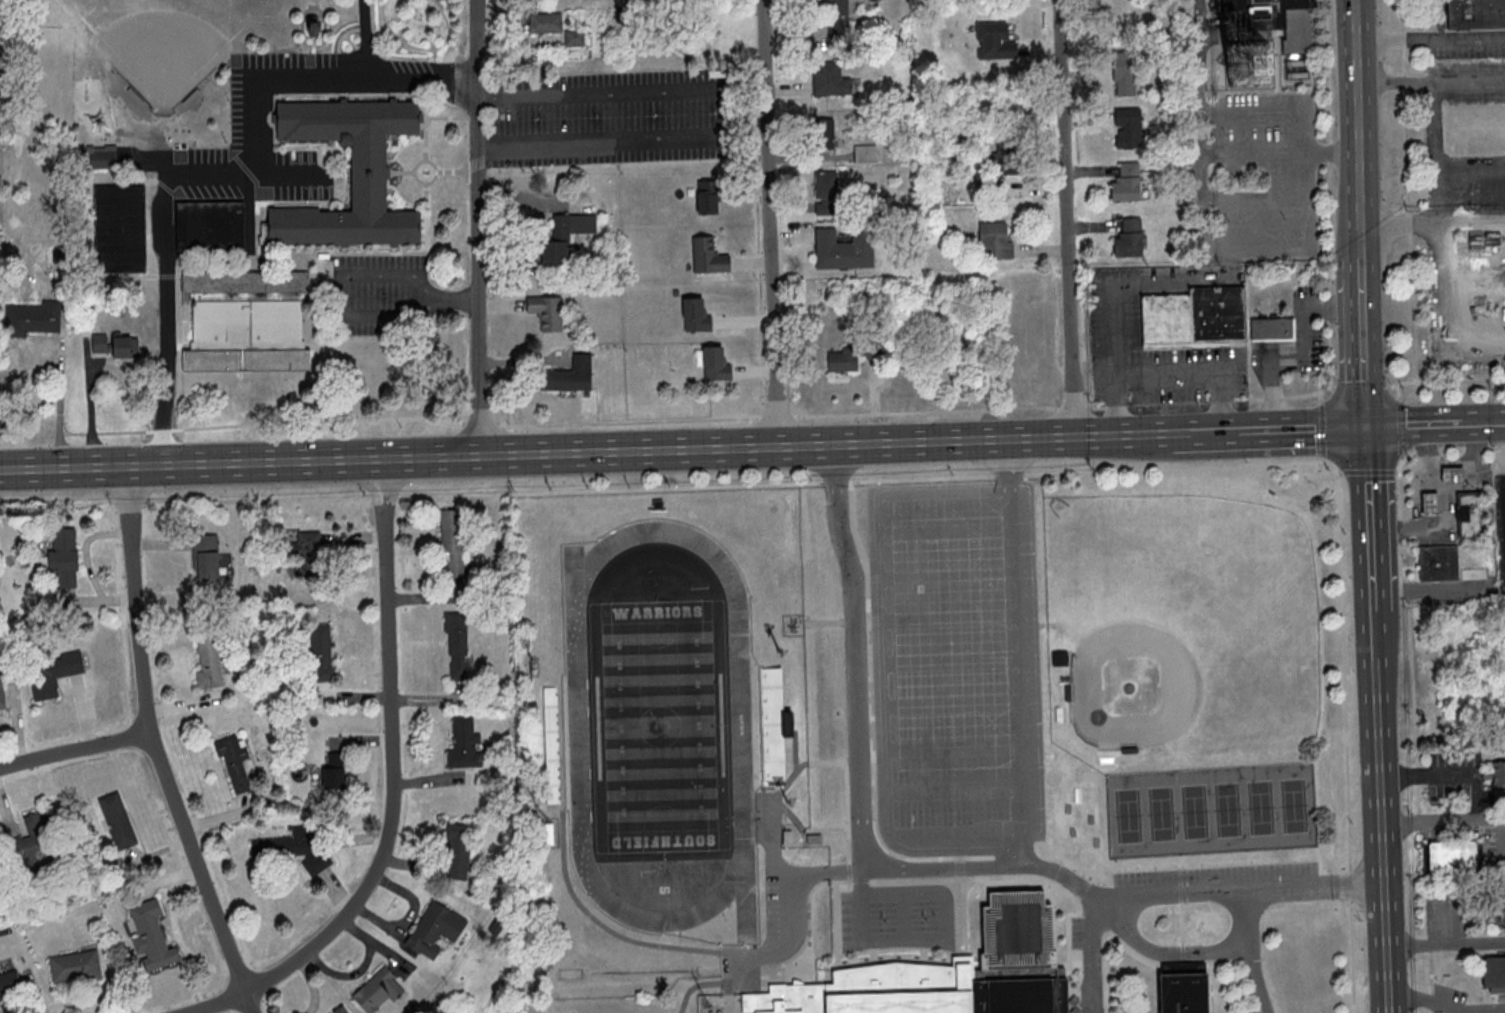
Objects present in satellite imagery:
building: (1261, 3)
building: (833, 12)
building: (1476, 14)
road: (1359, 19)
building: (545, 22)
building: (313, 27)
building: (575, 38)
road: (1432, 38)
park: (165, 41)
building: (994, 41)
road: (1360, 48)
building: (1124, 76)
road: (385, 77)
building: (830, 79)
road: (253, 102)
road: (728, 113)
building: (1128, 127)
building: (1474, 129)
road: (1361, 130)
building: (824, 132)
building: (865, 153)
building: (100, 157)
road: (1328, 160)
building: (1002, 162)
road: (1438, 162)
building: (1127, 182)
building: (991, 190)
road: (1408, 190)
building: (826, 192)
building: (709, 195)
road: (1067, 217)
road: (771, 222)
building: (211, 225)
building: (121, 227)
road: (479, 227)
road: (1362, 228)
building: (565, 237)
building: (1128, 238)
building: (995, 239)
building: (300, 243)
building: (832, 249)
building: (709, 255)
road: (165, 277)
building: (1486, 282)
road: (341, 291)
road: (452, 300)
road: (1363, 304)
building: (547, 312)
road: (1444, 313)
building: (696, 315)
building: (38, 317)
building: (1195, 317)
building: (1272, 328)
building: (101, 343)
building: (123, 345)
road: (1305, 358)
building: (843, 359)
building: (715, 364)
building: (567, 375)
road: (1443, 380)
road: (1394, 386)
road: (1331, 387)
road: (1361, 387)
road: (1365, 389)
road: (1323, 390)
road: (1321, 395)
road: (62, 402)
road: (1178, 404)
road: (1098, 407)
road: (545, 422)
road: (1483, 422)
road: (1413, 424)
traffic signals: (1365, 426)
road: (1401, 427)
road: (1301, 428)
road: (1322, 428)
road: (1213, 431)
road: (1182, 432)
road: (1453, 444)
road: (1499, 447)
road: (587, 451)
road: (1404, 457)
road: (1324, 460)
road: (1469, 463)
road: (1398, 470)
road: (1368, 471)
road: (1339, 472)
building: (1452, 475)
road: (510, 494)
building: (1429, 504)
road: (1444, 510)
road: (1339, 511)
building: (1467, 516)
road: (1368, 520)
road: (1503, 533)
building: (453, 544)
building: (308, 552)
building: (64, 556)
building: (206, 557)
building: (1438, 563)
road: (1424, 590)
park: (1184, 622)
road: (1372, 640)
building: (457, 642)
building: (322, 652)
road: (1023, 652)
building: (208, 661)
building: (52, 673)
building: (772, 684)
building: (2, 693)
road: (1413, 698)
track: (577, 726)
park: (658, 726)
road: (860, 726)
building: (463, 743)
road: (158, 746)
road: (77, 749)
building: (235, 760)
building: (773, 761)
building: (333, 770)
road: (1427, 775)
building: (1496, 778)
road: (394, 785)
park: (1293, 805)
park: (1260, 807)
park: (1227, 809)
park: (1194, 811)
park: (1161, 813)
park: (1128, 815)
building: (117, 820)
road: (1452, 823)
road: (1382, 838)
building: (33, 843)
building: (457, 849)
building: (291, 850)
building: (1453, 856)
road: (1321, 886)
road: (1134, 896)
building: (1495, 908)
building: (435, 929)
building: (152, 937)
road: (1352, 941)
road: (1445, 942)
road: (1252, 951)
road: (1161, 953)
building: (75, 967)
building: (960, 972)
building: (1493, 973)
road: (1431, 974)
building: (10, 987)
building: (1188, 987)
building: (378, 991)
road: (1446, 1003)
building: (343, 1011)

